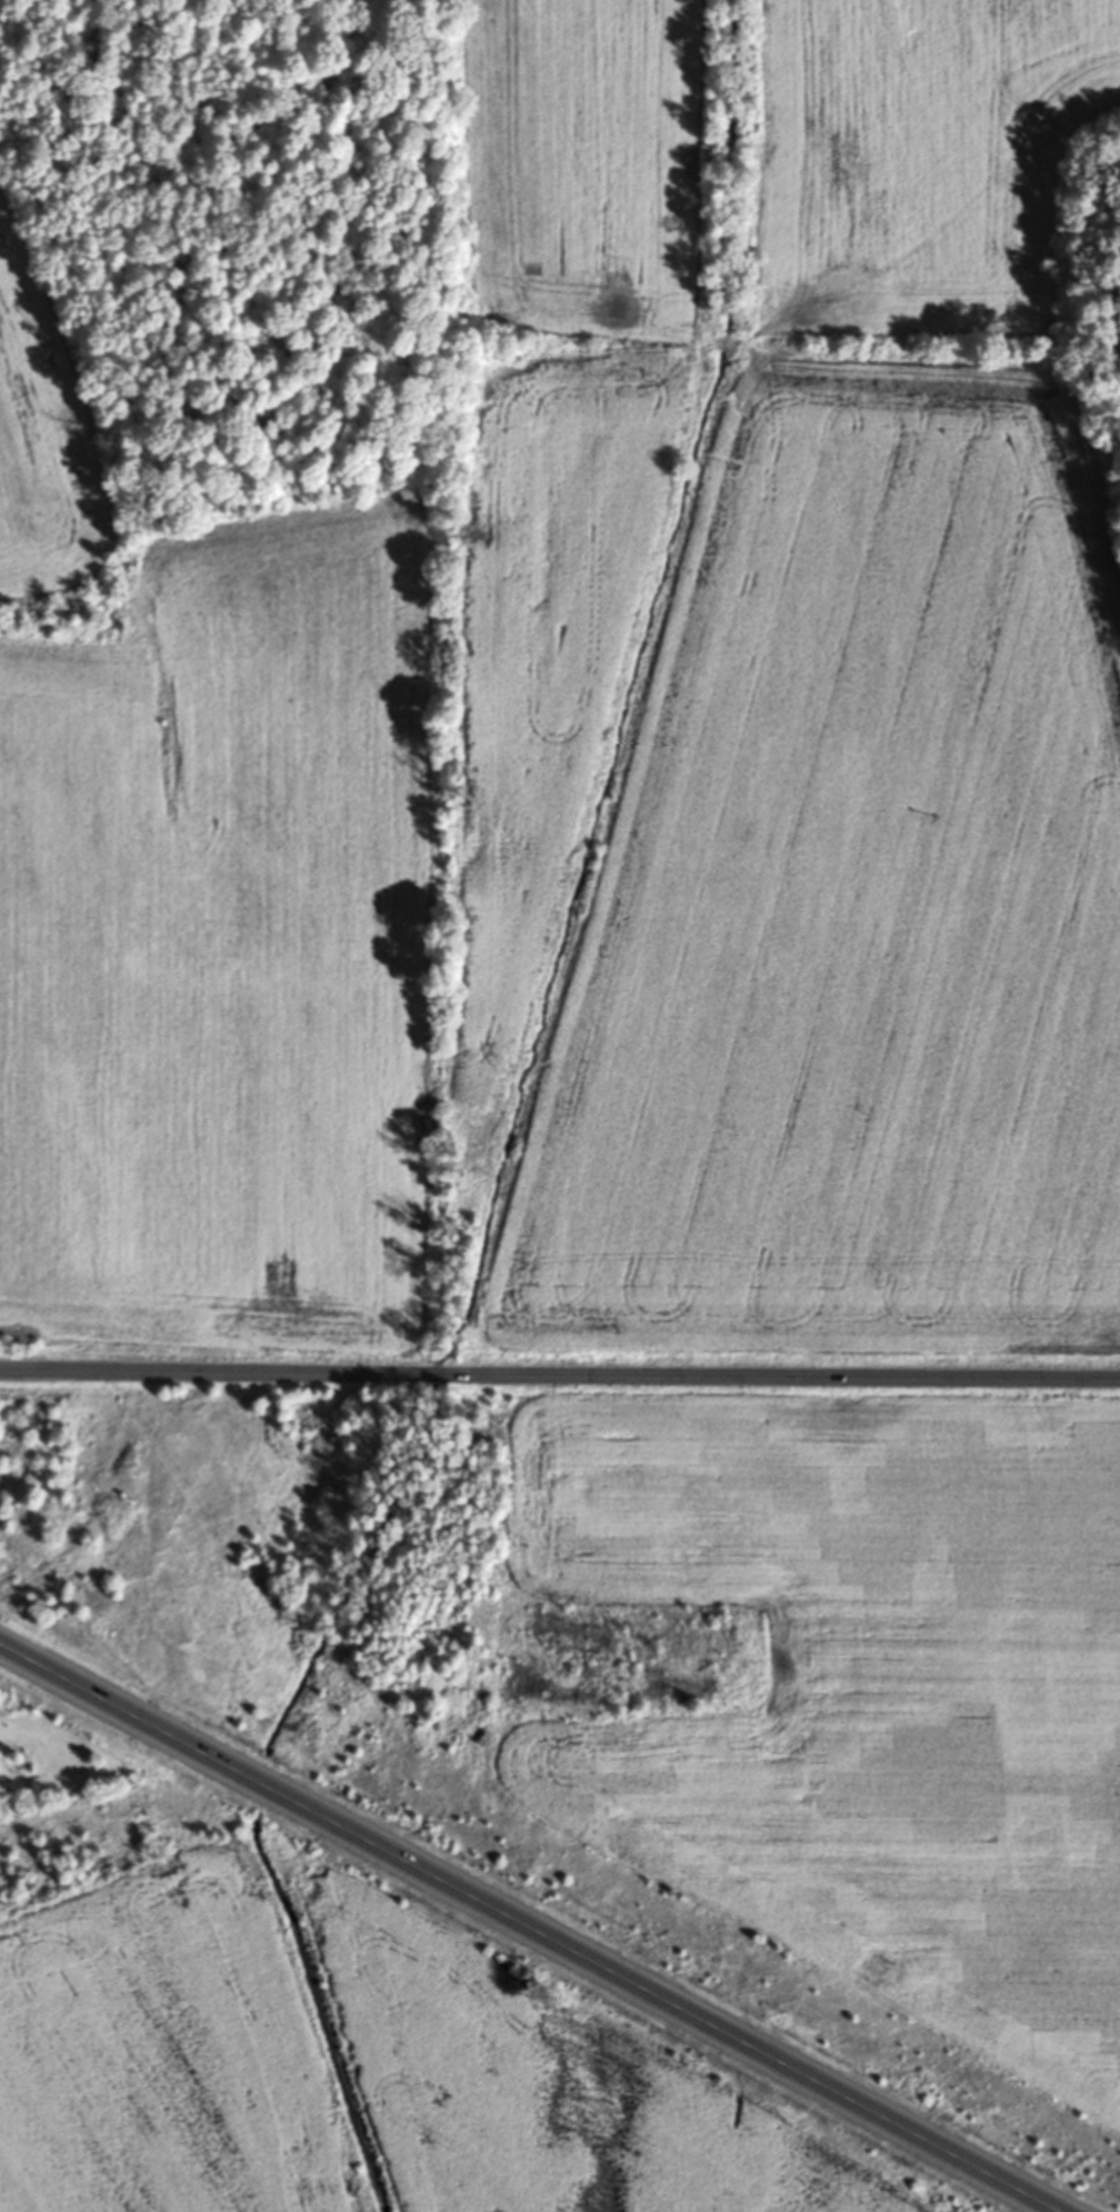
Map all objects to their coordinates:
road: (559, 1376)
road: (528, 1926)

